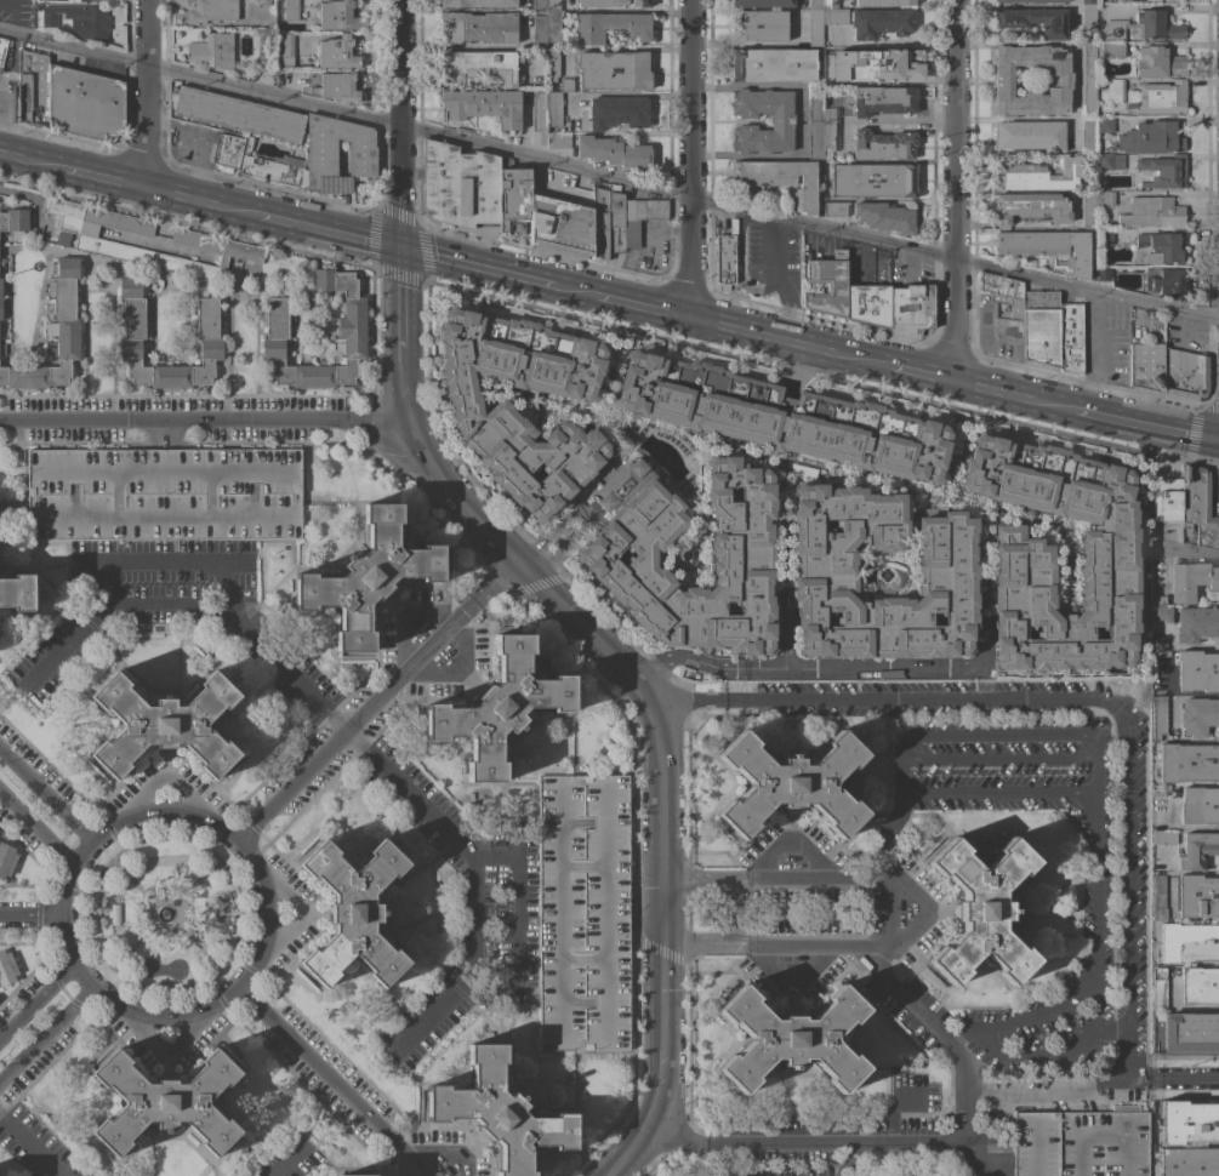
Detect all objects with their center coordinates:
building: (1100, 0)
building: (91, 1)
building: (1031, 1)
building: (262, 2)
building: (600, 2)
building: (640, 2)
building: (762, 2)
building: (883, 2)
building: (1088, 2)
building: (478, 4)
building: (539, 4)
building: (816, 4)
building: (830, 4)
building: (552, 5)
building: (291, 10)
building: (212, 12)
building: (337, 16)
building: (836, 16)
building: (1088, 18)
building: (78, 19)
building: (1035, 21)
building: (881, 23)
building: (552, 24)
building: (757, 25)
building: (479, 27)
building: (609, 27)
building: (815, 27)
building: (1144, 27)
building: (539, 32)
building: (285, 45)
building: (210, 48)
building: (2, 50)
building: (1110, 50)
building: (266, 51)
building: (336, 53)
building: (1158, 62)
building: (552, 64)
building: (479, 65)
building: (773, 65)
building: (877, 65)
building: (613, 70)
building: (1059, 78)
building: (1088, 79)
building: (565, 85)
building: (336, 87)
building: (33, 89)
building: (1115, 90)
road: (146, 93)
building: (1160, 97)
building: (883, 101)
building: (85, 103)
building: (483, 105)
building: (553, 108)
building: (617, 113)
building: (831, 115)
building: (539, 119)
building: (782, 121)
building: (815, 121)
road: (900, 124)
road: (399, 125)
building: (1105, 125)
road: (2, 135)
building: (245, 135)
building: (1088, 135)
building: (1031, 136)
building: (1151, 137)
building: (831, 138)
building: (558, 139)
building: (882, 145)
building: (614, 153)
building: (321, 158)
road: (691, 159)
road: (33, 160)
building: (1111, 161)
building: (1163, 171)
building: (1036, 173)
road: (609, 176)
road: (106, 178)
building: (779, 179)
building: (873, 181)
building: (461, 185)
road: (956, 192)
building: (1106, 199)
building: (514, 200)
road: (200, 202)
building: (1030, 207)
building: (833, 209)
building: (1089, 211)
building: (1152, 212)
building: (884, 217)
building: (640, 218)
building: (15, 222)
building: (608, 223)
building: (562, 227)
road: (326, 234)
building: (1106, 238)
building: (95, 241)
building: (217, 246)
building: (1047, 247)
building: (1160, 247)
traffic signals: (398, 251)
road: (645, 253)
building: (725, 259)
road: (739, 266)
road: (475, 269)
building: (1104, 274)
road: (779, 281)
building: (1166, 281)
building: (827, 285)
road: (574, 292)
building: (1003, 296)
building: (0, 299)
building: (868, 304)
road: (644, 308)
building: (911, 308)
building: (1042, 327)
building: (279, 331)
building: (53, 335)
building: (1070, 335)
building: (133, 336)
road: (791, 344)
building: (1, 349)
building: (1147, 366)
building: (1185, 373)
road: (924, 376)
road: (1016, 396)
building: (484, 413)
building: (782, 417)
road: (204, 424)
road: (1147, 426)
road: (417, 439)
building: (164, 493)
parking lot: (164, 493)
building: (1166, 499)
building: (1198, 507)
road: (545, 548)
building: (1023, 549)
road: (1177, 549)
building: (741, 555)
road: (165, 560)
building: (822, 569)
building: (368, 577)
road: (782, 581)
building: (1191, 581)
road: (480, 590)
building: (17, 593)
road: (194, 606)
building: (1161, 610)
road: (406, 620)
building: (1196, 624)
road: (586, 630)
building: (1158, 646)
road: (660, 657)
road: (887, 666)
road: (458, 667)
building: (1197, 670)
road: (12, 677)
road: (639, 689)
road: (934, 700)
road: (687, 701)
building: (499, 708)
building: (1158, 717)
building: (1198, 717)
building: (164, 725)
road: (343, 732)
road: (996, 733)
building: (1187, 763)
road: (161, 777)
building: (790, 784)
road: (979, 790)
building: (1161, 792)
road: (44, 795)
building: (1200, 805)
road: (35, 824)
road: (885, 834)
building: (1163, 837)
road: (790, 840)
road: (1094, 846)
building: (1197, 850)
building: (6, 860)
road: (660, 874)
road: (872, 878)
road: (708, 879)
road: (474, 881)
building: (1196, 896)
building: (1160, 898)
road: (1128, 902)
road: (295, 906)
road: (644, 909)
building: (981, 910)
building: (353, 913)
road: (514, 913)
building: (583, 913)
building: (114, 914)
road: (28, 917)
building: (1189, 942)
road: (702, 948)
road: (748, 948)
road: (813, 948)
building: (6, 969)
road: (790, 980)
building: (1200, 986)
building: (1158, 989)
road: (32, 997)
road: (158, 1023)
road: (1109, 1032)
building: (1190, 1032)
road: (42, 1033)
building: (791, 1039)
road: (946, 1039)
road: (165, 1045)
road: (1064, 1056)
road: (1184, 1078)
road: (334, 1083)
road: (656, 1092)
road: (1058, 1094)
road: (418, 1098)
building: (165, 1102)
road: (890, 1111)
building: (499, 1112)
building: (1187, 1123)
road: (672, 1138)
road: (832, 1142)
building: (1081, 1142)
parking lot: (1081, 1142)
road: (30, 1143)
road: (445, 1153)
road: (625, 1155)
road: (291, 1159)
road: (849, 1159)
building: (1189, 1161)
road: (404, 1164)
road: (351, 1170)
building: (357, 1175)

